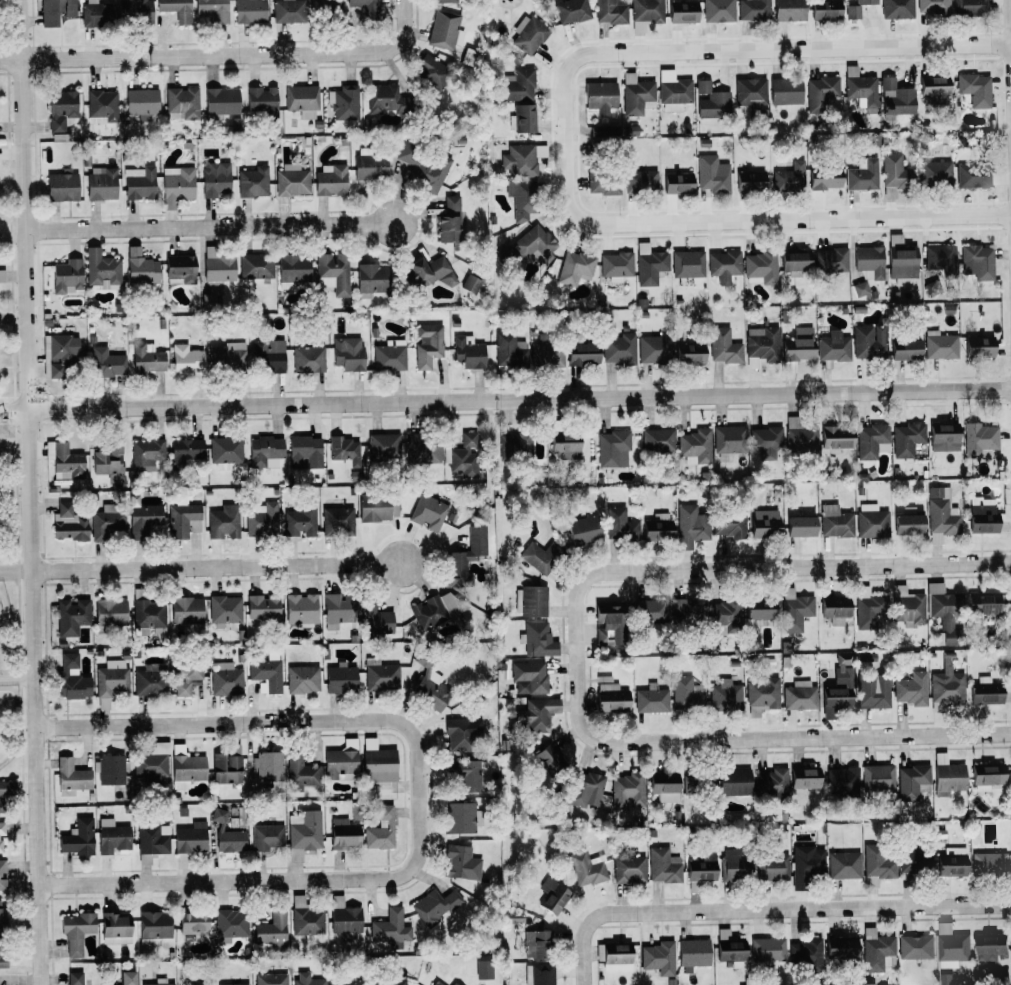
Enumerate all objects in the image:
building: (443, 1)
building: (364, 7)
building: (970, 7)
building: (326, 8)
building: (933, 8)
building: (176, 9)
building: (856, 9)
building: (896, 9)
building: (213, 10)
building: (718, 10)
building: (753, 10)
building: (788, 10)
building: (56, 11)
building: (134, 11)
building: (250, 11)
building: (288, 11)
building: (571, 11)
building: (647, 11)
building: (682, 11)
building: (825, 11)
building: (610, 12)
building: (97, 13)
road: (1010, 22)
building: (444, 30)
building: (528, 35)
road: (750, 50)
road: (222, 56)
building: (431, 73)
building: (518, 85)
building: (860, 88)
building: (933, 89)
building: (673, 91)
building: (973, 91)
building: (786, 92)
building: (820, 93)
building: (636, 95)
building: (600, 96)
building: (752, 96)
building: (382, 98)
building: (896, 99)
building: (301, 100)
building: (262, 101)
building: (711, 101)
building: (220, 102)
building: (142, 103)
building: (182, 103)
building: (344, 103)
building: (101, 106)
building: (61, 109)
building: (522, 119)
building: (630, 130)
building: (519, 160)
building: (423, 165)
building: (370, 167)
building: (895, 171)
building: (712, 174)
building: (935, 174)
building: (862, 175)
building: (973, 175)
building: (790, 177)
building: (825, 178)
building: (215, 179)
building: (331, 180)
building: (291, 181)
building: (750, 181)
building: (252, 182)
building: (641, 182)
building: (101, 183)
building: (139, 183)
building: (603, 183)
building: (678, 183)
building: (176, 186)
building: (62, 187)
building: (521, 199)
building: (448, 221)
road: (752, 221)
road: (211, 227)
building: (533, 243)
building: (941, 259)
building: (831, 260)
building: (901, 260)
building: (869, 261)
building: (793, 262)
building: (977, 262)
building: (649, 264)
building: (687, 264)
building: (217, 265)
building: (256, 266)
building: (616, 266)
building: (724, 266)
building: (140, 267)
building: (180, 268)
building: (293, 268)
building: (574, 268)
building: (760, 268)
building: (101, 269)
building: (428, 272)
building: (333, 273)
building: (2, 276)
building: (67, 277)
building: (371, 278)
building: (860, 289)
building: (208, 299)
building: (868, 341)
building: (428, 344)
building: (798, 344)
building: (939, 345)
building: (978, 345)
building: (723, 346)
building: (761, 346)
building: (833, 347)
building: (508, 349)
building: (619, 349)
building: (654, 349)
building: (905, 349)
building: (547, 351)
building: (468, 352)
building: (689, 352)
building: (348, 353)
building: (58, 354)
building: (583, 354)
building: (389, 355)
building: (228, 356)
building: (268, 356)
building: (146, 358)
building: (186, 359)
building: (308, 359)
building: (106, 363)
road: (505, 398)
building: (801, 435)
building: (836, 437)
building: (944, 437)
building: (906, 438)
building: (657, 440)
building: (980, 440)
building: (728, 441)
building: (765, 441)
building: (871, 441)
road: (16, 444)
building: (513, 445)
building: (383, 446)
building: (695, 446)
building: (612, 448)
building: (422, 449)
building: (264, 450)
building: (345, 450)
building: (184, 451)
building: (303, 451)
building: (225, 452)
building: (146, 453)
building: (463, 455)
building: (108, 458)
road: (32, 492)
building: (377, 508)
building: (428, 512)
building: (941, 515)
building: (145, 518)
building: (183, 519)
building: (982, 519)
building: (262, 520)
building: (337, 520)
building: (224, 521)
building: (300, 521)
building: (871, 521)
building: (108, 522)
building: (835, 522)
building: (68, 523)
building: (729, 523)
building: (764, 523)
building: (619, 524)
building: (908, 524)
building: (691, 526)
building: (800, 526)
building: (657, 527)
building: (583, 530)
building: (466, 553)
building: (536, 558)
road: (221, 567)
road: (756, 568)
road: (17, 571)
building: (530, 601)
building: (983, 604)
building: (907, 606)
building: (262, 607)
building: (300, 608)
building: (338, 608)
building: (438, 608)
building: (224, 609)
building: (759, 609)
building: (834, 609)
building: (186, 610)
building: (794, 610)
building: (110, 611)
building: (649, 611)
building: (684, 611)
building: (945, 612)
building: (723, 615)
building: (71, 616)
building: (147, 616)
building: (374, 619)
building: (607, 625)
building: (538, 639)
building: (266, 673)
building: (380, 675)
building: (186, 676)
building: (528, 677)
road: (18, 678)
building: (111, 678)
building: (340, 678)
building: (71, 679)
building: (225, 679)
building: (302, 679)
building: (149, 680)
building: (838, 685)
building: (946, 686)
building: (911, 689)
building: (431, 690)
building: (985, 691)
building: (686, 694)
building: (871, 694)
building: (610, 695)
building: (762, 695)
building: (724, 696)
building: (799, 696)
building: (651, 699)
building: (536, 714)
road: (18, 723)
road: (259, 723)
building: (458, 734)
road: (756, 738)
building: (548, 758)
building: (339, 762)
building: (151, 764)
building: (378, 764)
building: (226, 766)
building: (268, 766)
building: (187, 768)
building: (109, 769)
building: (463, 770)
building: (300, 774)
building: (948, 775)
building: (986, 776)
building: (71, 777)
building: (804, 777)
building: (877, 777)
building: (770, 781)
building: (842, 781)
building: (911, 781)
building: (734, 782)
building: (664, 786)
building: (6, 789)
building: (584, 790)
building: (627, 790)
building: (459, 817)
building: (380, 829)
building: (2, 830)
building: (304, 830)
building: (227, 834)
building: (343, 834)
building: (111, 836)
building: (267, 837)
building: (77, 838)
building: (190, 838)
building: (151, 842)
building: (461, 862)
building: (916, 862)
building: (952, 862)
building: (877, 863)
building: (988, 863)
building: (662, 865)
building: (735, 865)
building: (806, 865)
building: (844, 865)
building: (701, 866)
building: (586, 868)
building: (772, 868)
building: (628, 869)
building: (2, 875)
road: (263, 879)
building: (553, 895)
building: (435, 905)
road: (766, 909)
building: (2, 915)
building: (306, 918)
building: (344, 918)
building: (515, 918)
building: (192, 922)
building: (230, 925)
building: (153, 927)
building: (390, 927)
building: (115, 928)
building: (271, 928)
building: (75, 931)
building: (536, 944)
building: (915, 946)
building: (950, 946)
building: (990, 947)
building: (729, 948)
building: (841, 948)
building: (767, 951)
building: (877, 951)
building: (693, 952)
building: (803, 953)
building: (656, 954)
building: (614, 957)
building: (2, 958)
building: (483, 969)
building: (539, 974)
building: (74, 978)
building: (127, 978)
building: (270, 979)
building: (306, 979)
building: (945, 979)
building: (159, 982)
building: (347, 982)
building: (388, 982)
building: (436, 983)
building: (453, 983)
building: (196, 984)
building: (233, 984)

